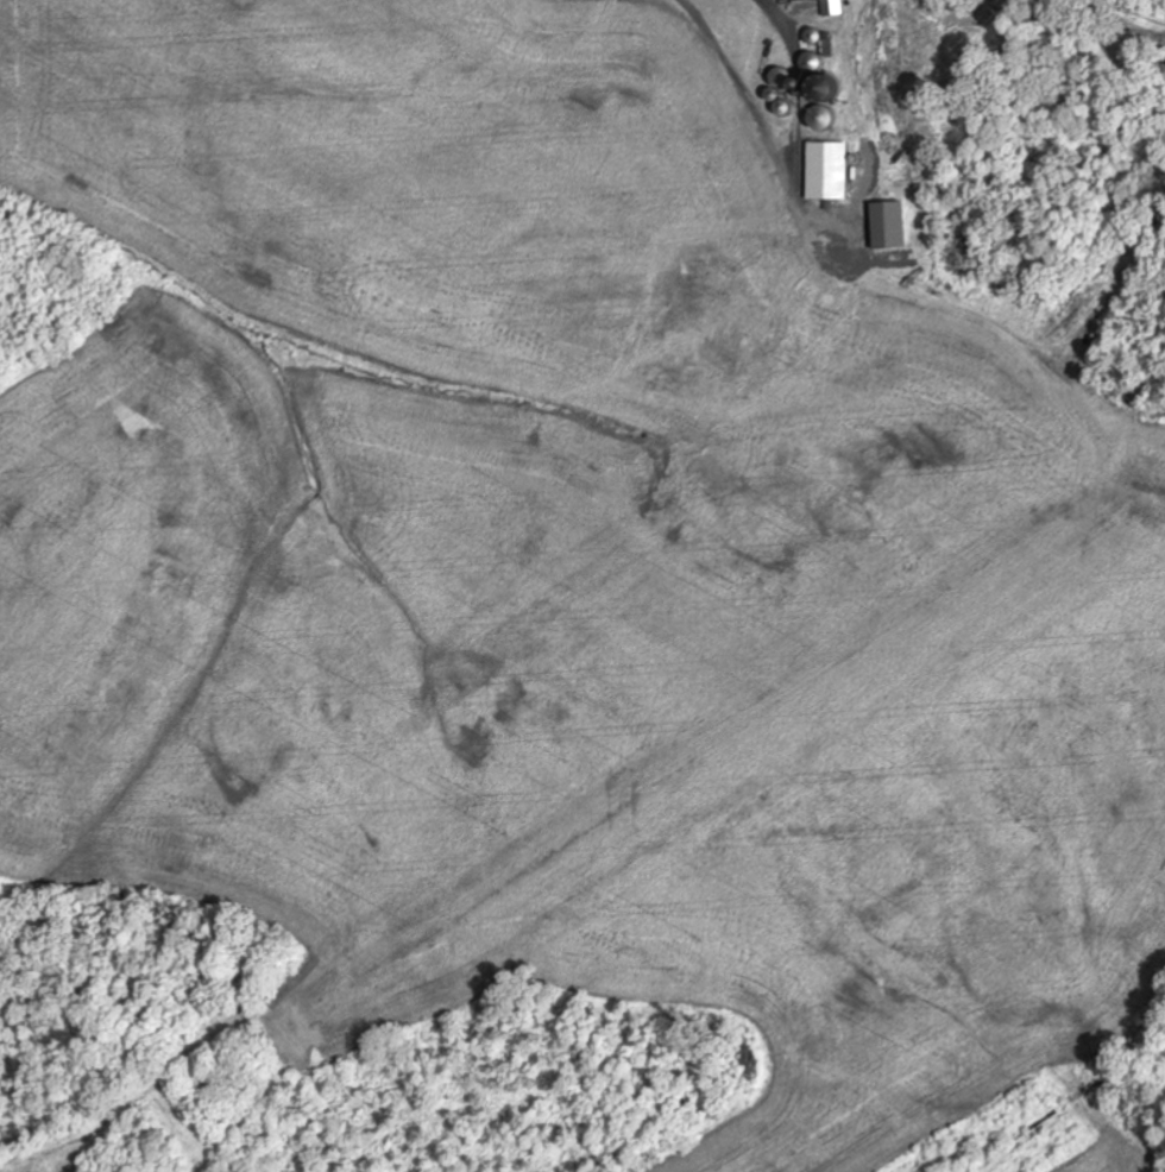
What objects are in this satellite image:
building: (807, 0)
building: (839, 7)
building: (788, 78)
building: (835, 171)
building: (899, 226)

